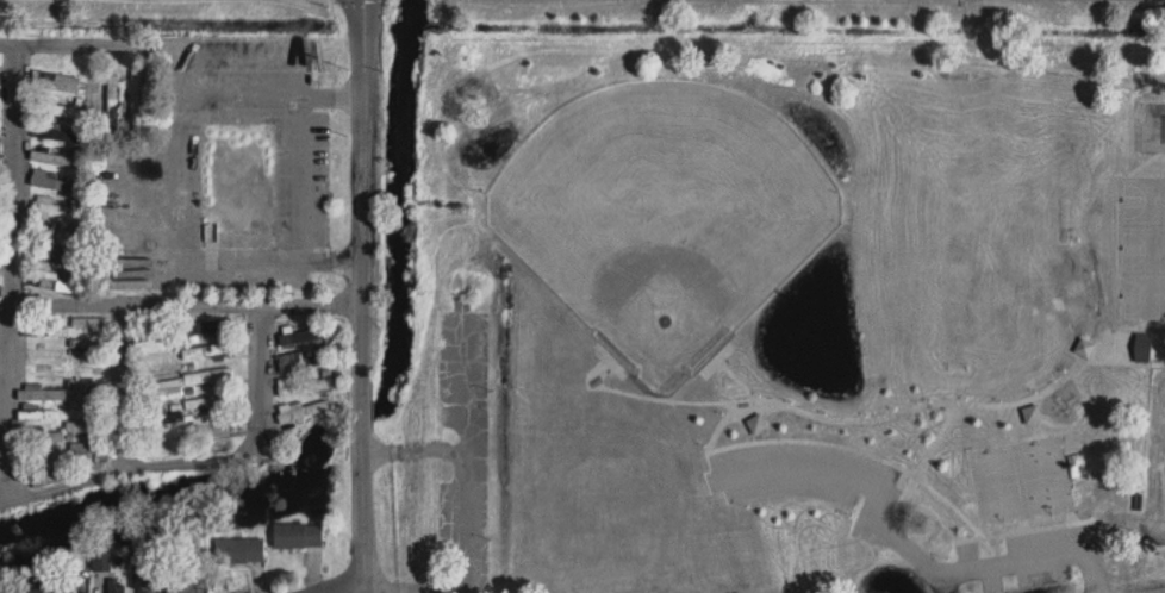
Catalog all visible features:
road: (186, 50)
road: (363, 50)
building: (0, 62)
building: (57, 83)
building: (0, 92)
building: (94, 96)
building: (116, 100)
building: (137, 100)
building: (55, 108)
park: (1153, 124)
building: (55, 132)
building: (0, 145)
building: (54, 160)
building: (235, 181)
building: (55, 183)
building: (0, 188)
park: (1144, 198)
road: (365, 205)
building: (54, 207)
road: (293, 208)
river: (401, 210)
building: (52, 235)
park: (1142, 245)
road: (12, 274)
building: (55, 283)
park: (1142, 293)
park: (764, 296)
road: (188, 306)
building: (89, 325)
building: (208, 327)
building: (44, 332)
building: (303, 336)
building: (160, 343)
building: (88, 345)
building: (1141, 348)
building: (207, 352)
building: (39, 354)
building: (304, 361)
building: (88, 366)
building: (161, 369)
building: (37, 374)
road: (737, 375)
building: (211, 379)
building: (88, 386)
building: (301, 387)
road: (124, 389)
building: (158, 392)
road: (648, 393)
building: (39, 394)
building: (208, 405)
road: (809, 407)
building: (303, 412)
building: (37, 417)
building: (154, 417)
river: (362, 417)
building: (86, 429)
building: (212, 429)
building: (43, 437)
building: (160, 445)
road: (362, 447)
road: (412, 448)
building: (91, 449)
road: (924, 454)
building: (48, 460)
road: (201, 462)
road: (809, 463)
parking lot: (802, 468)
building: (50, 479)
river: (186, 488)
road: (462, 495)
building: (298, 536)
road: (904, 543)
parking lot: (1033, 550)
building: (238, 551)
building: (101, 561)
road: (1013, 561)
building: (151, 580)
building: (183, 580)
road: (345, 588)
road: (365, 588)
building: (54, 592)

